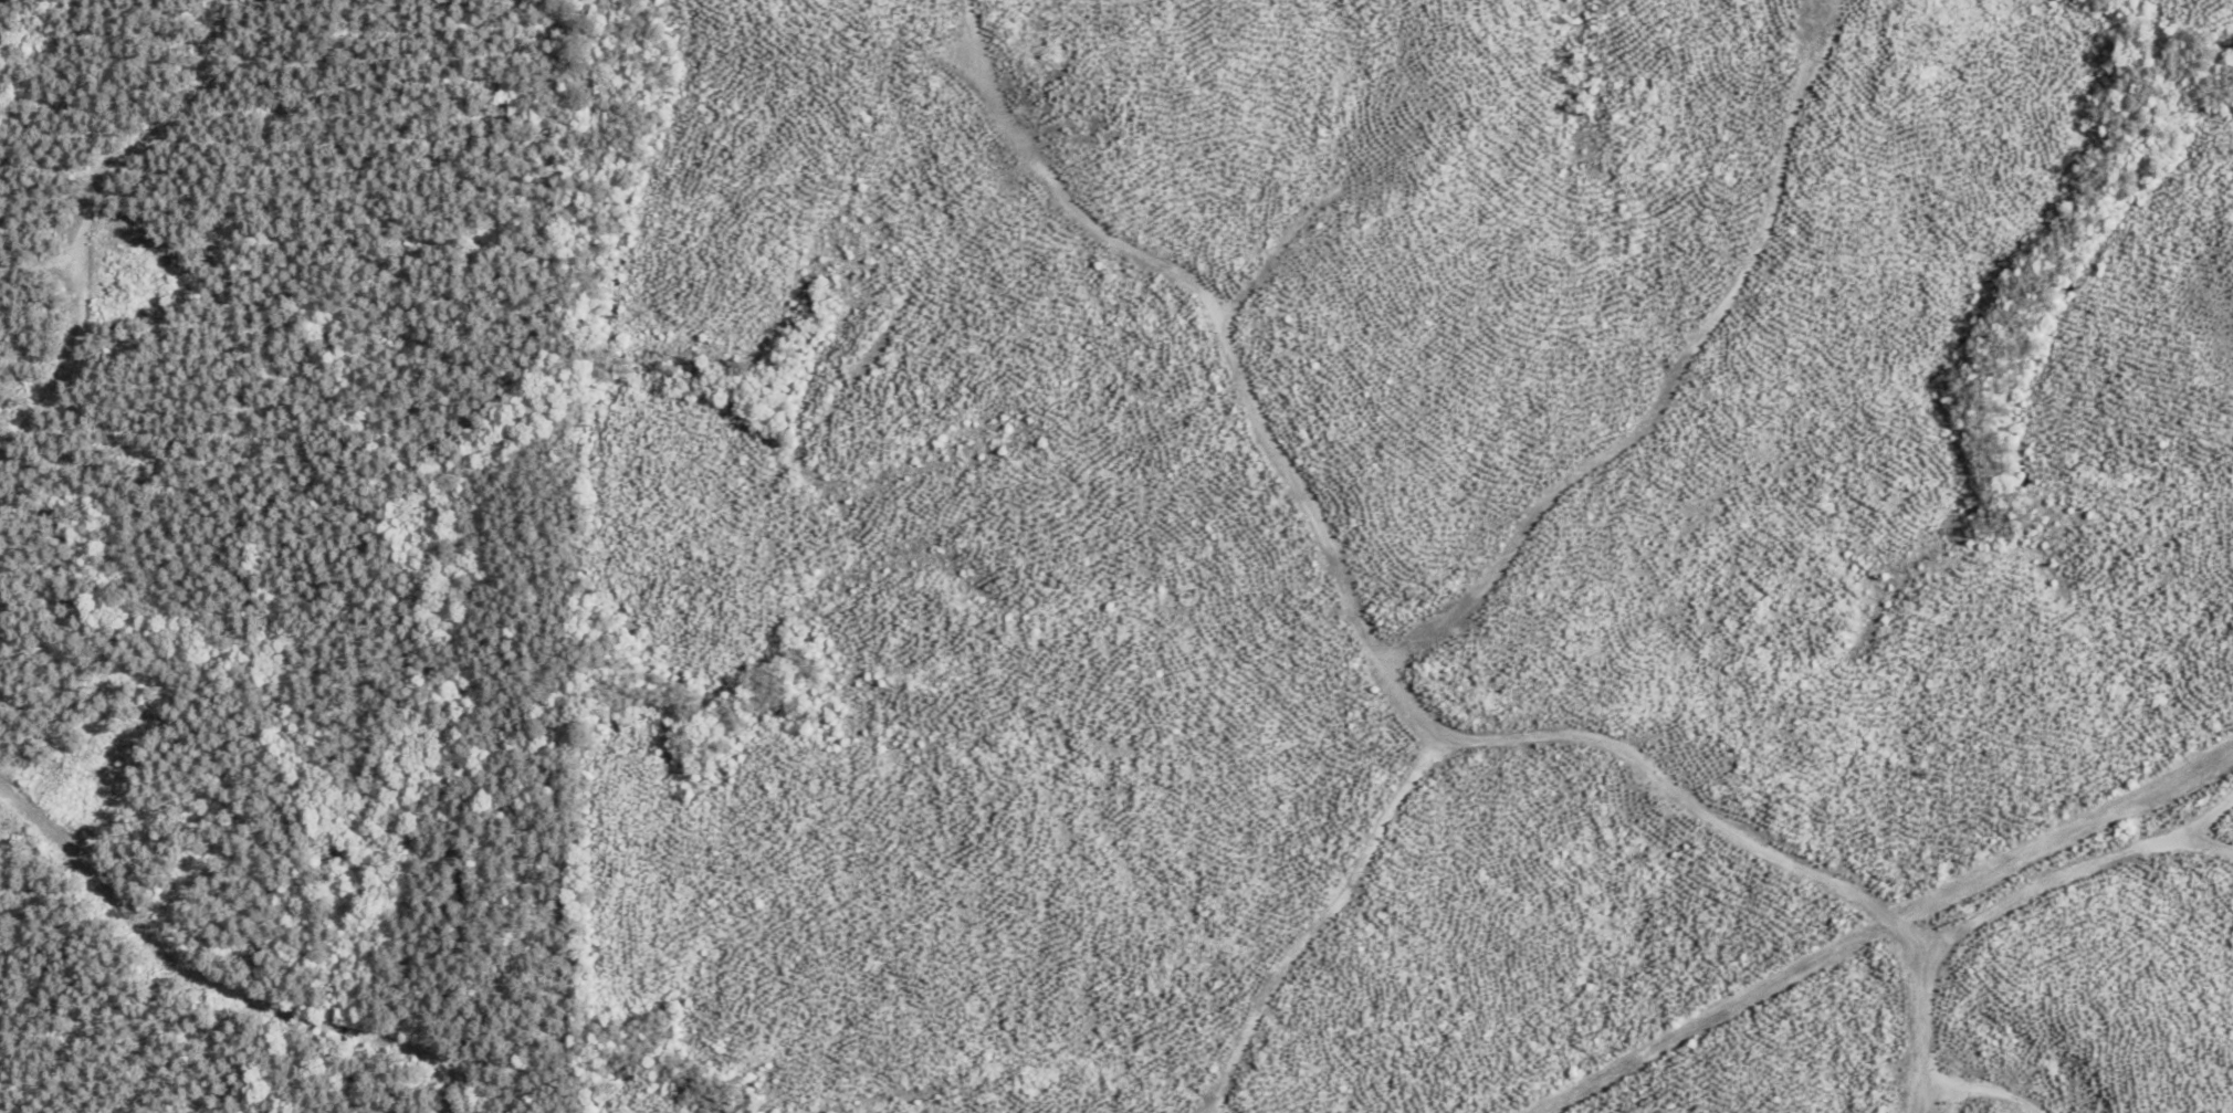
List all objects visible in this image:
road: (1846, 1110)

